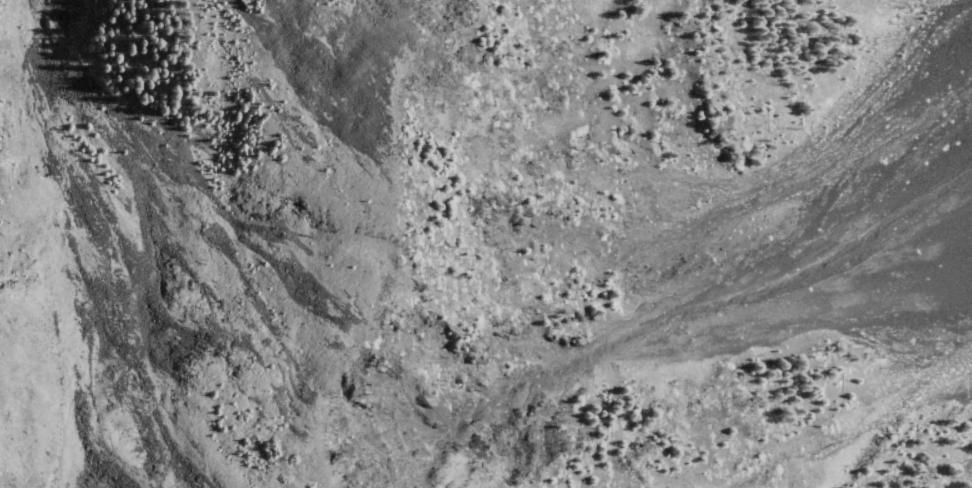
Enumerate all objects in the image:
ski resort: (174, 233)

